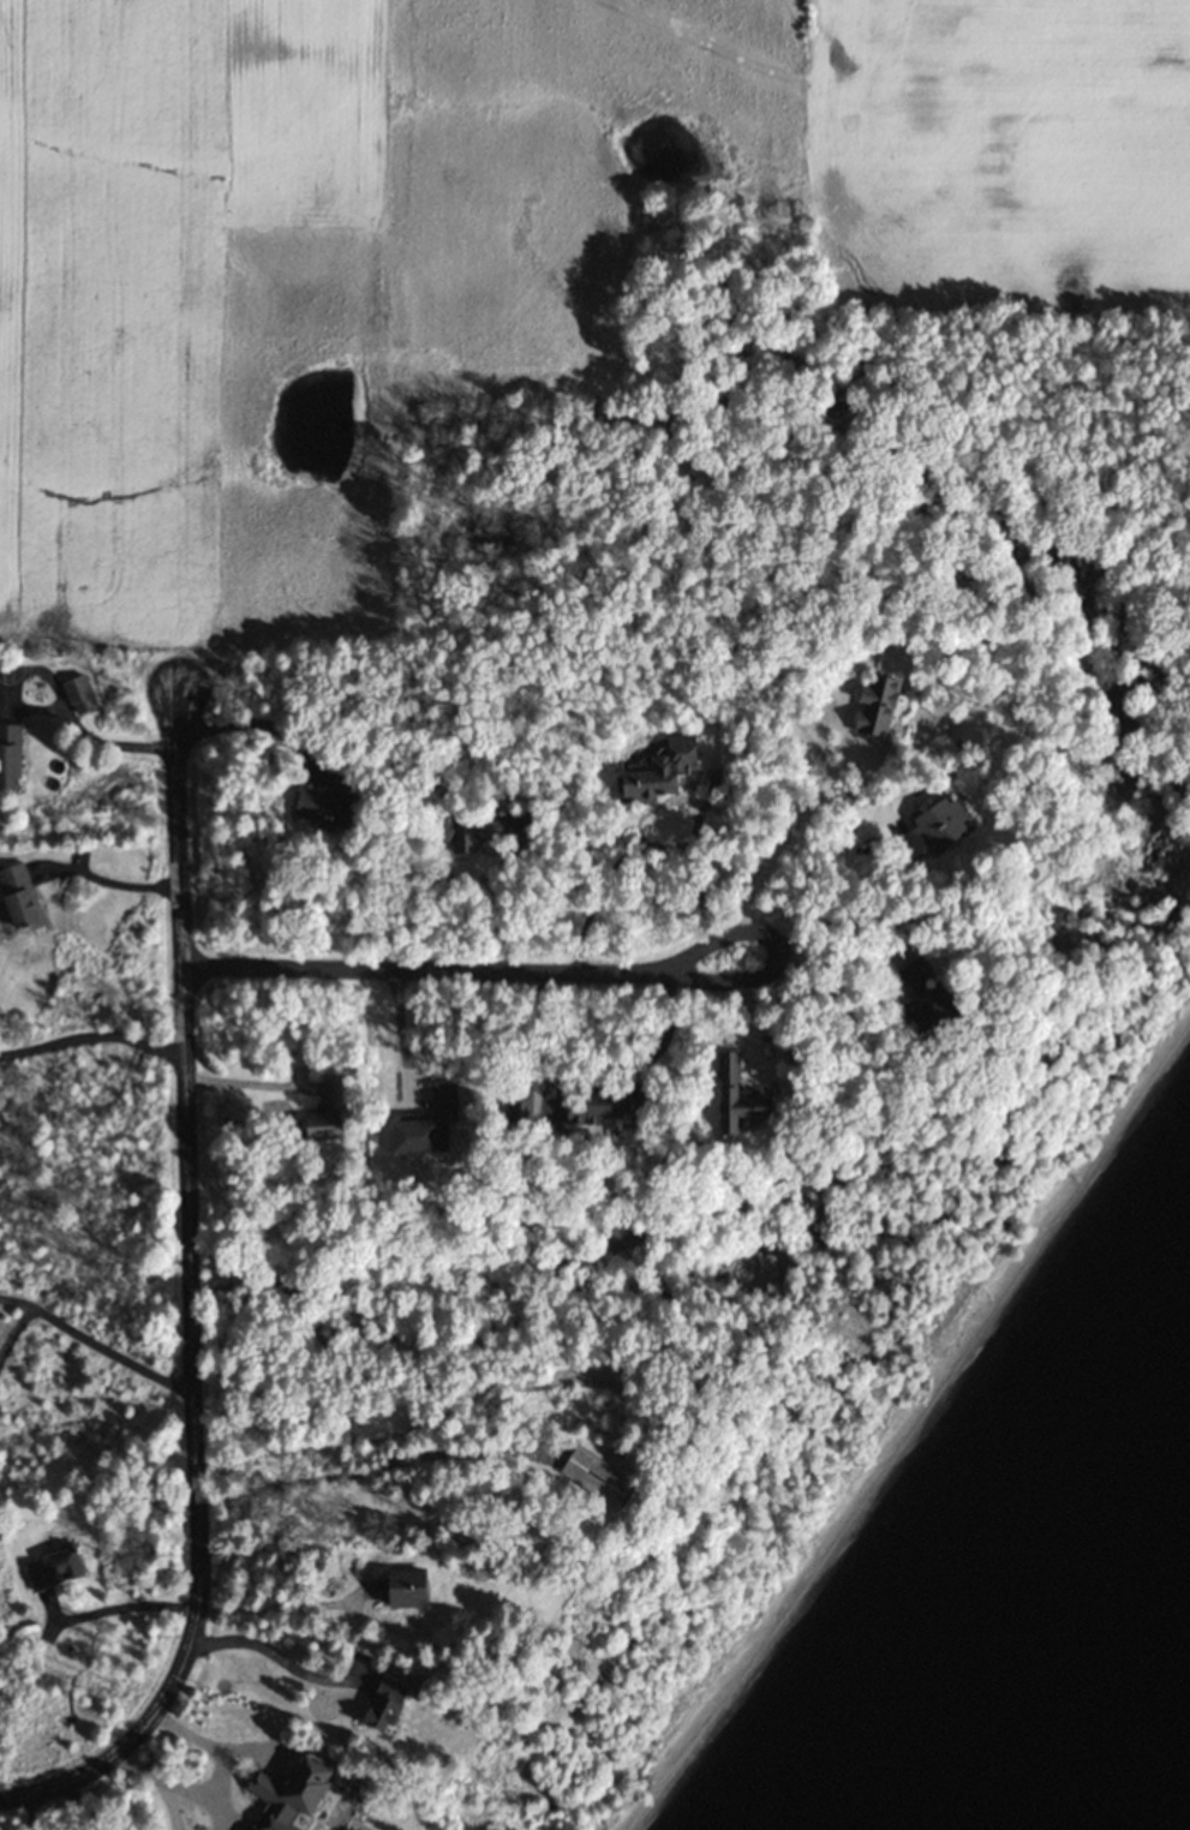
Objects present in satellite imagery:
crop: (484, 243)
building: (78, 695)
building: (877, 704)
road: (50, 710)
building: (8, 755)
building: (658, 771)
building: (327, 803)
building: (931, 829)
road: (777, 839)
road: (634, 849)
road: (817, 872)
road: (104, 880)
road: (490, 886)
building: (20, 897)
road: (771, 949)
road: (419, 974)
building: (932, 1010)
road: (92, 1035)
road: (400, 1040)
road: (588, 1076)
road: (249, 1084)
building: (743, 1098)
building: (608, 1104)
building: (527, 1105)
building: (324, 1129)
road: (190, 1291)
road: (94, 1344)
building: (584, 1469)
road: (345, 1470)
building: (53, 1568)
road: (118, 1607)
road: (277, 1656)
building: (385, 1705)
road: (215, 1786)
building: (295, 1786)
road: (157, 1804)
road: (78, 1806)

